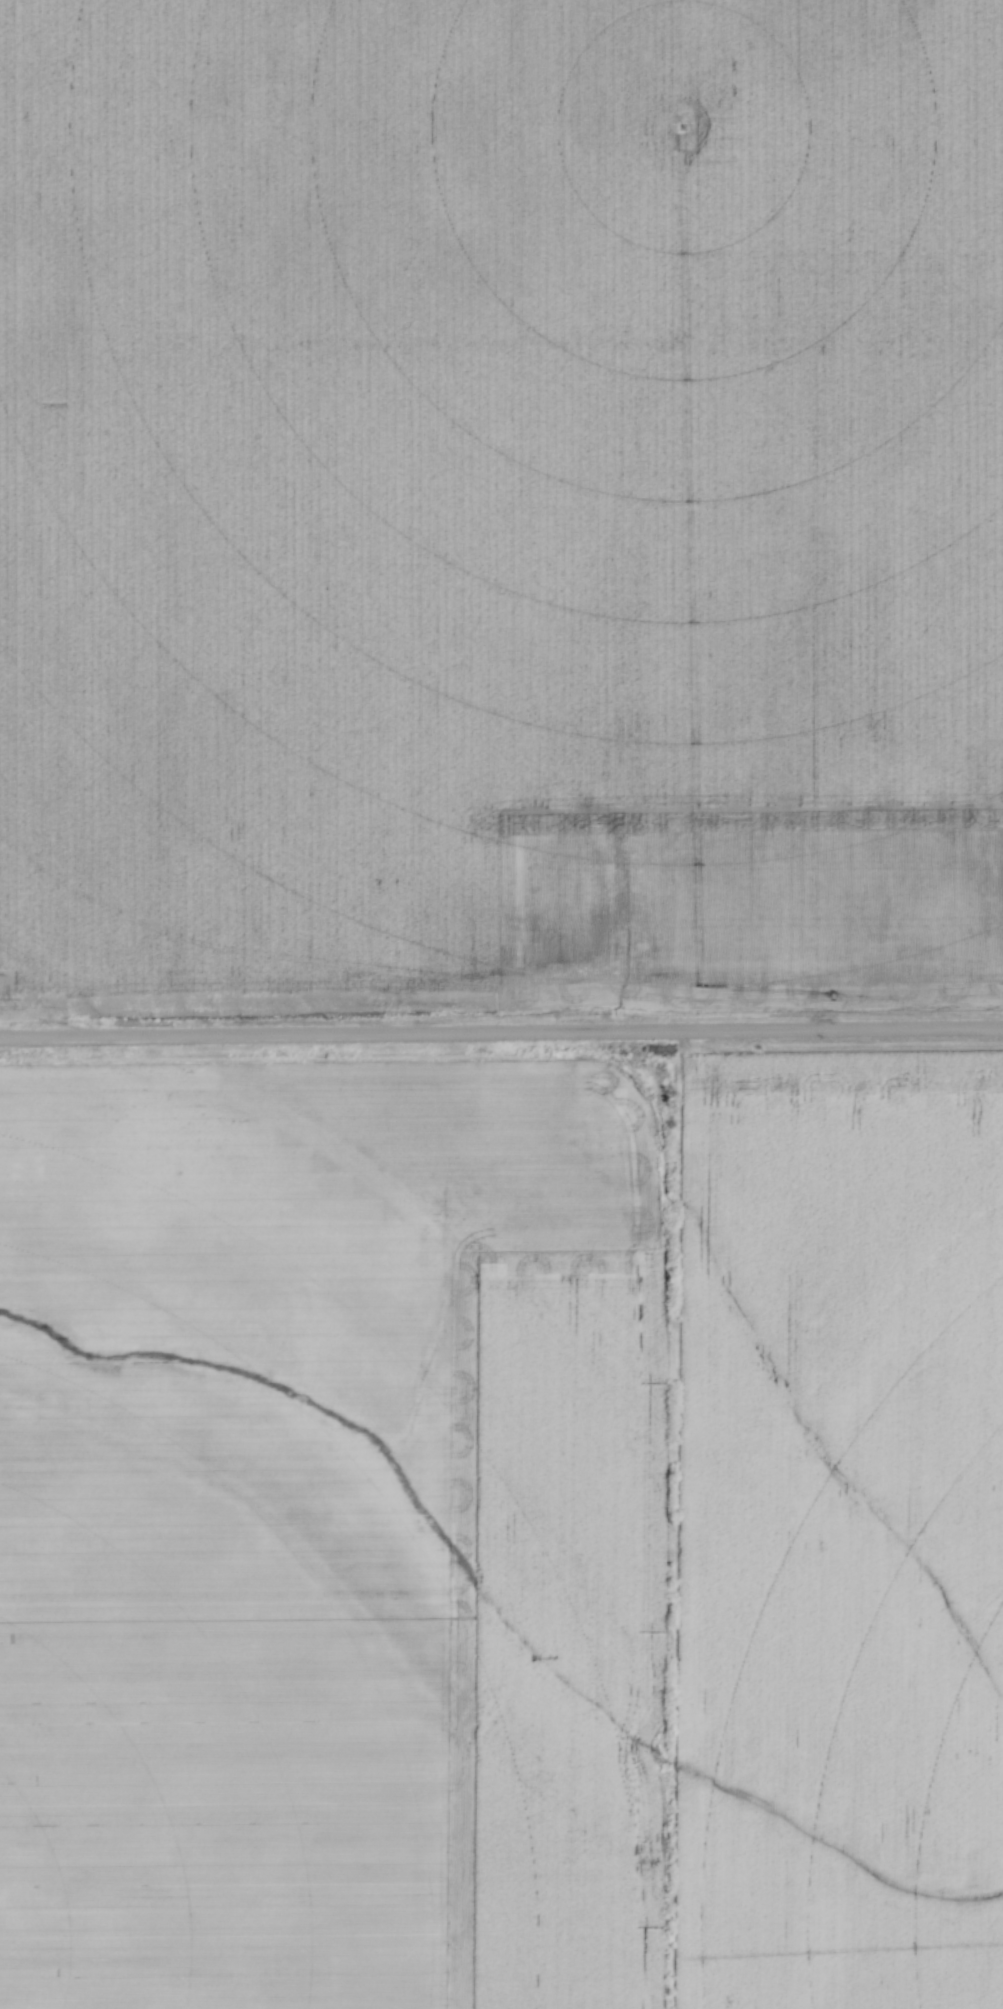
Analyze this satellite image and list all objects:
road: (501, 1036)

